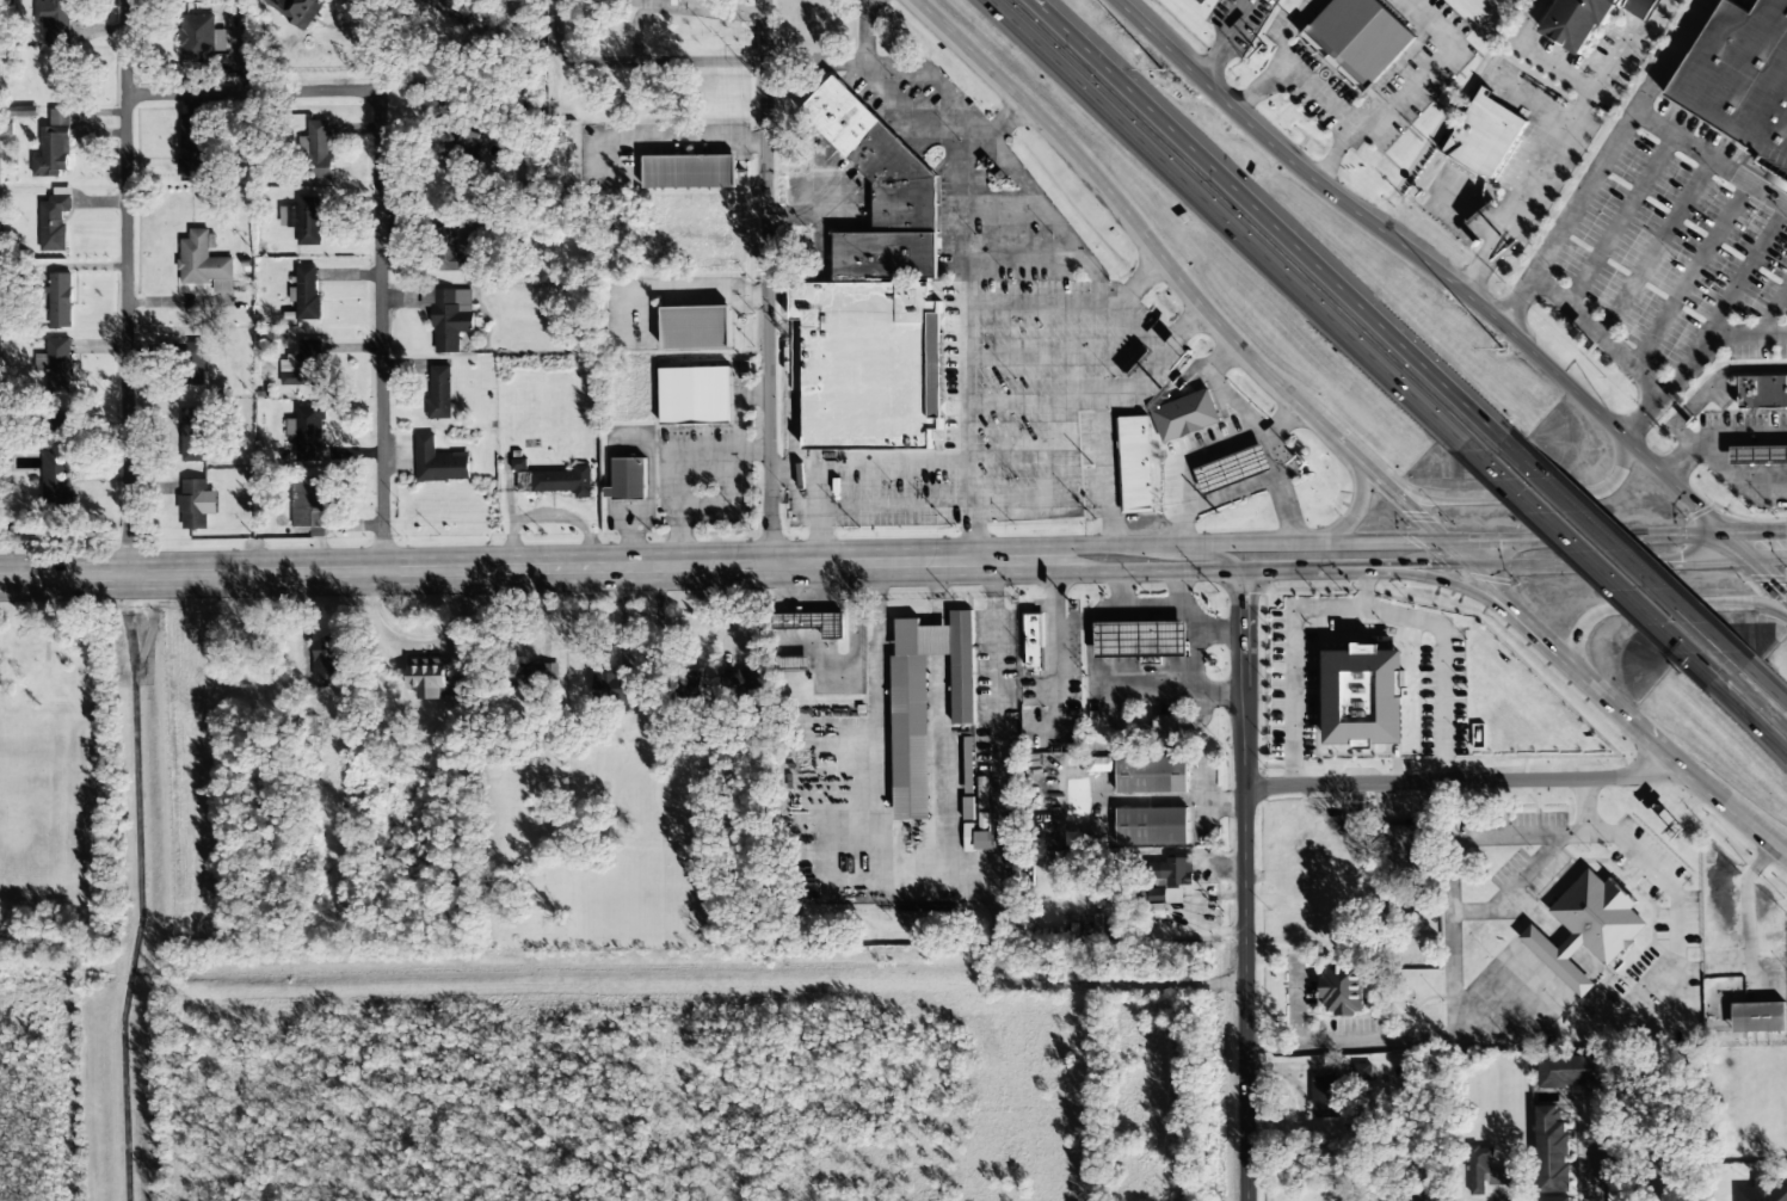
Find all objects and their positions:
building: (1201, 1)
building: (295, 8)
road: (640, 8)
road: (726, 12)
building: (57, 16)
building: (1591, 19)
building: (196, 33)
building: (1358, 38)
road: (633, 63)
road: (844, 63)
building: (1739, 76)
road: (252, 92)
road: (908, 112)
building: (1484, 134)
building: (461, 141)
road: (670, 141)
building: (192, 144)
building: (53, 147)
parking lot: (648, 148)
building: (318, 150)
road: (1712, 159)
road: (1604, 161)
building: (458, 166)
building: (690, 171)
building: (879, 191)
parking lot: (1683, 209)
building: (304, 214)
road: (1273, 221)
building: (54, 223)
road: (1230, 224)
building: (445, 250)
building: (203, 263)
road: (1436, 267)
road: (1140, 279)
road: (766, 282)
road: (1102, 282)
road: (128, 288)
road: (1191, 290)
building: (307, 292)
building: (60, 300)
building: (448, 315)
road: (965, 318)
building: (696, 327)
road: (1179, 327)
road: (381, 329)
parking lot: (991, 335)
road: (1693, 361)
building: (58, 364)
building: (190, 364)
building: (303, 364)
building: (870, 364)
road: (1709, 384)
road: (1216, 386)
building: (1763, 390)
gas station: (1763, 390)
building: (438, 392)
building: (696, 395)
road: (739, 406)
building: (1184, 415)
gas station: (1184, 415)
building: (195, 433)
building: (310, 433)
road: (1270, 436)
parking lot: (1733, 442)
building: (1758, 454)
parking lot: (1187, 458)
building: (57, 461)
building: (437, 461)
road: (678, 463)
building: (518, 464)
parking lot: (705, 466)
building: (1135, 466)
road: (868, 469)
road: (1104, 469)
building: (1233, 469)
gas station: (1233, 469)
road: (1717, 470)
parking lot: (629, 476)
building: (629, 479)
building: (555, 480)
building: (1170, 488)
road: (1357, 493)
road: (1516, 497)
road: (1210, 499)
building: (193, 503)
building: (310, 503)
road: (1284, 510)
traffic signals: (1416, 511)
road: (818, 517)
road: (1597, 536)
traffic signals: (1492, 540)
road: (629, 541)
road: (1264, 543)
road: (1766, 547)
traffic signals: (1744, 548)
road: (1621, 550)
road: (1214, 552)
road: (1579, 552)
road: (1061, 553)
road: (1400, 561)
traffic signals: (1429, 562)
road: (1612, 562)
road: (1064, 566)
road: (520, 567)
road: (1202, 567)
road: (1766, 567)
road: (1447, 584)
road: (1664, 604)
road: (1527, 614)
building: (811, 622)
building: (1141, 639)
building: (1034, 640)
building: (327, 661)
building: (788, 663)
building: (529, 673)
building: (426, 677)
road: (1760, 679)
building: (742, 680)
building: (688, 685)
building: (609, 686)
building: (1363, 697)
road: (1737, 701)
building: (924, 703)
building: (1165, 723)
road: (1785, 746)
road: (1674, 759)
building: (1090, 764)
building: (1152, 774)
road: (1460, 780)
building: (1152, 826)
road: (1462, 837)
building: (978, 839)
building: (1399, 844)
building: (1169, 870)
road: (1243, 882)
road: (1514, 888)
building: (1153, 895)
building: (1586, 929)
building: (1342, 988)
building: (1758, 1017)
building: (1577, 1071)
building: (1325, 1097)
building: (1553, 1147)
building: (1613, 1169)
building: (1484, 1171)
building: (1762, 1191)
building: (1555, 1199)

